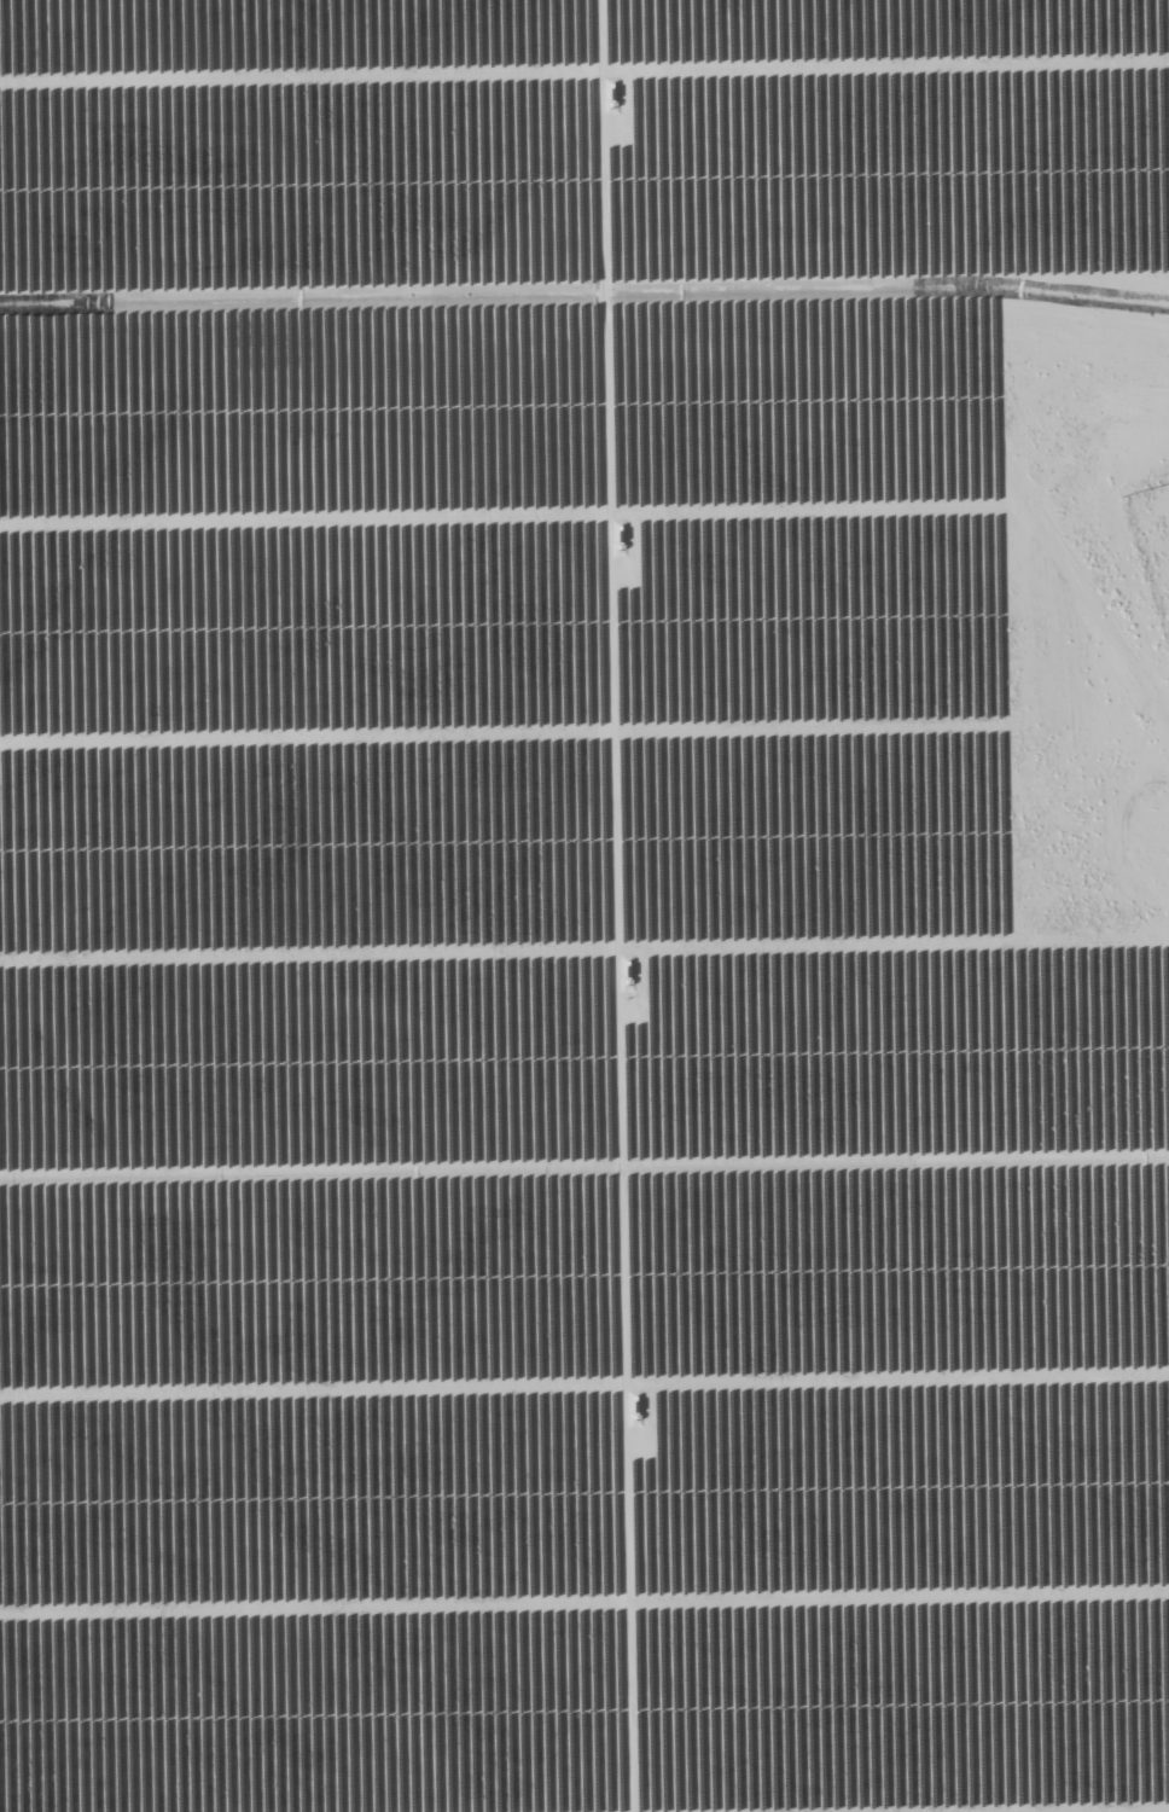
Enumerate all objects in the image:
road: (715, 5)

